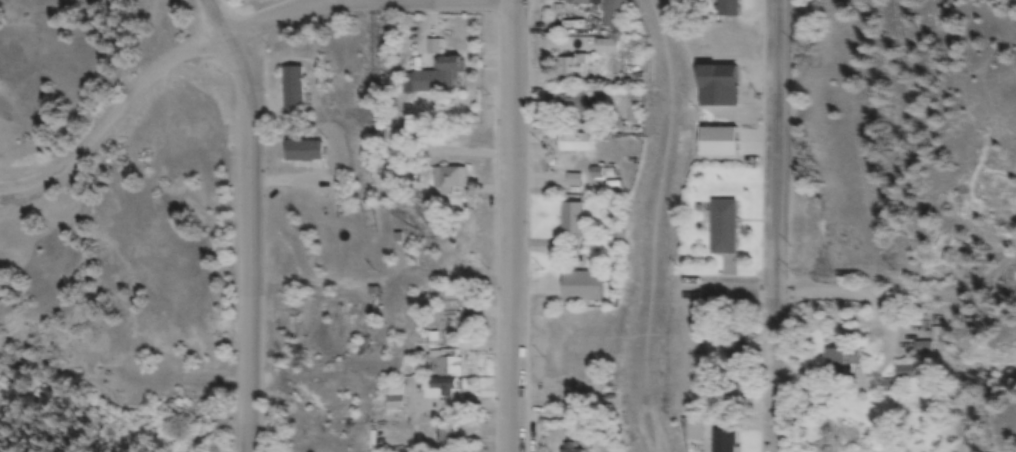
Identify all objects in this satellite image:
building: (578, 3)
building: (727, 8)
building: (614, 14)
road: (235, 41)
building: (606, 47)
building: (572, 67)
building: (434, 79)
building: (290, 91)
building: (569, 103)
building: (717, 143)
building: (576, 144)
building: (301, 152)
building: (449, 179)
building: (571, 219)
road: (250, 221)
road: (515, 225)
road: (776, 226)
building: (722, 228)
road: (729, 297)
building: (445, 322)
building: (341, 323)
road: (859, 356)
building: (838, 361)
building: (438, 362)
building: (905, 374)
building: (436, 390)
building: (393, 399)
building: (818, 403)
building: (693, 432)
building: (446, 434)
building: (723, 441)
building: (569, 448)

